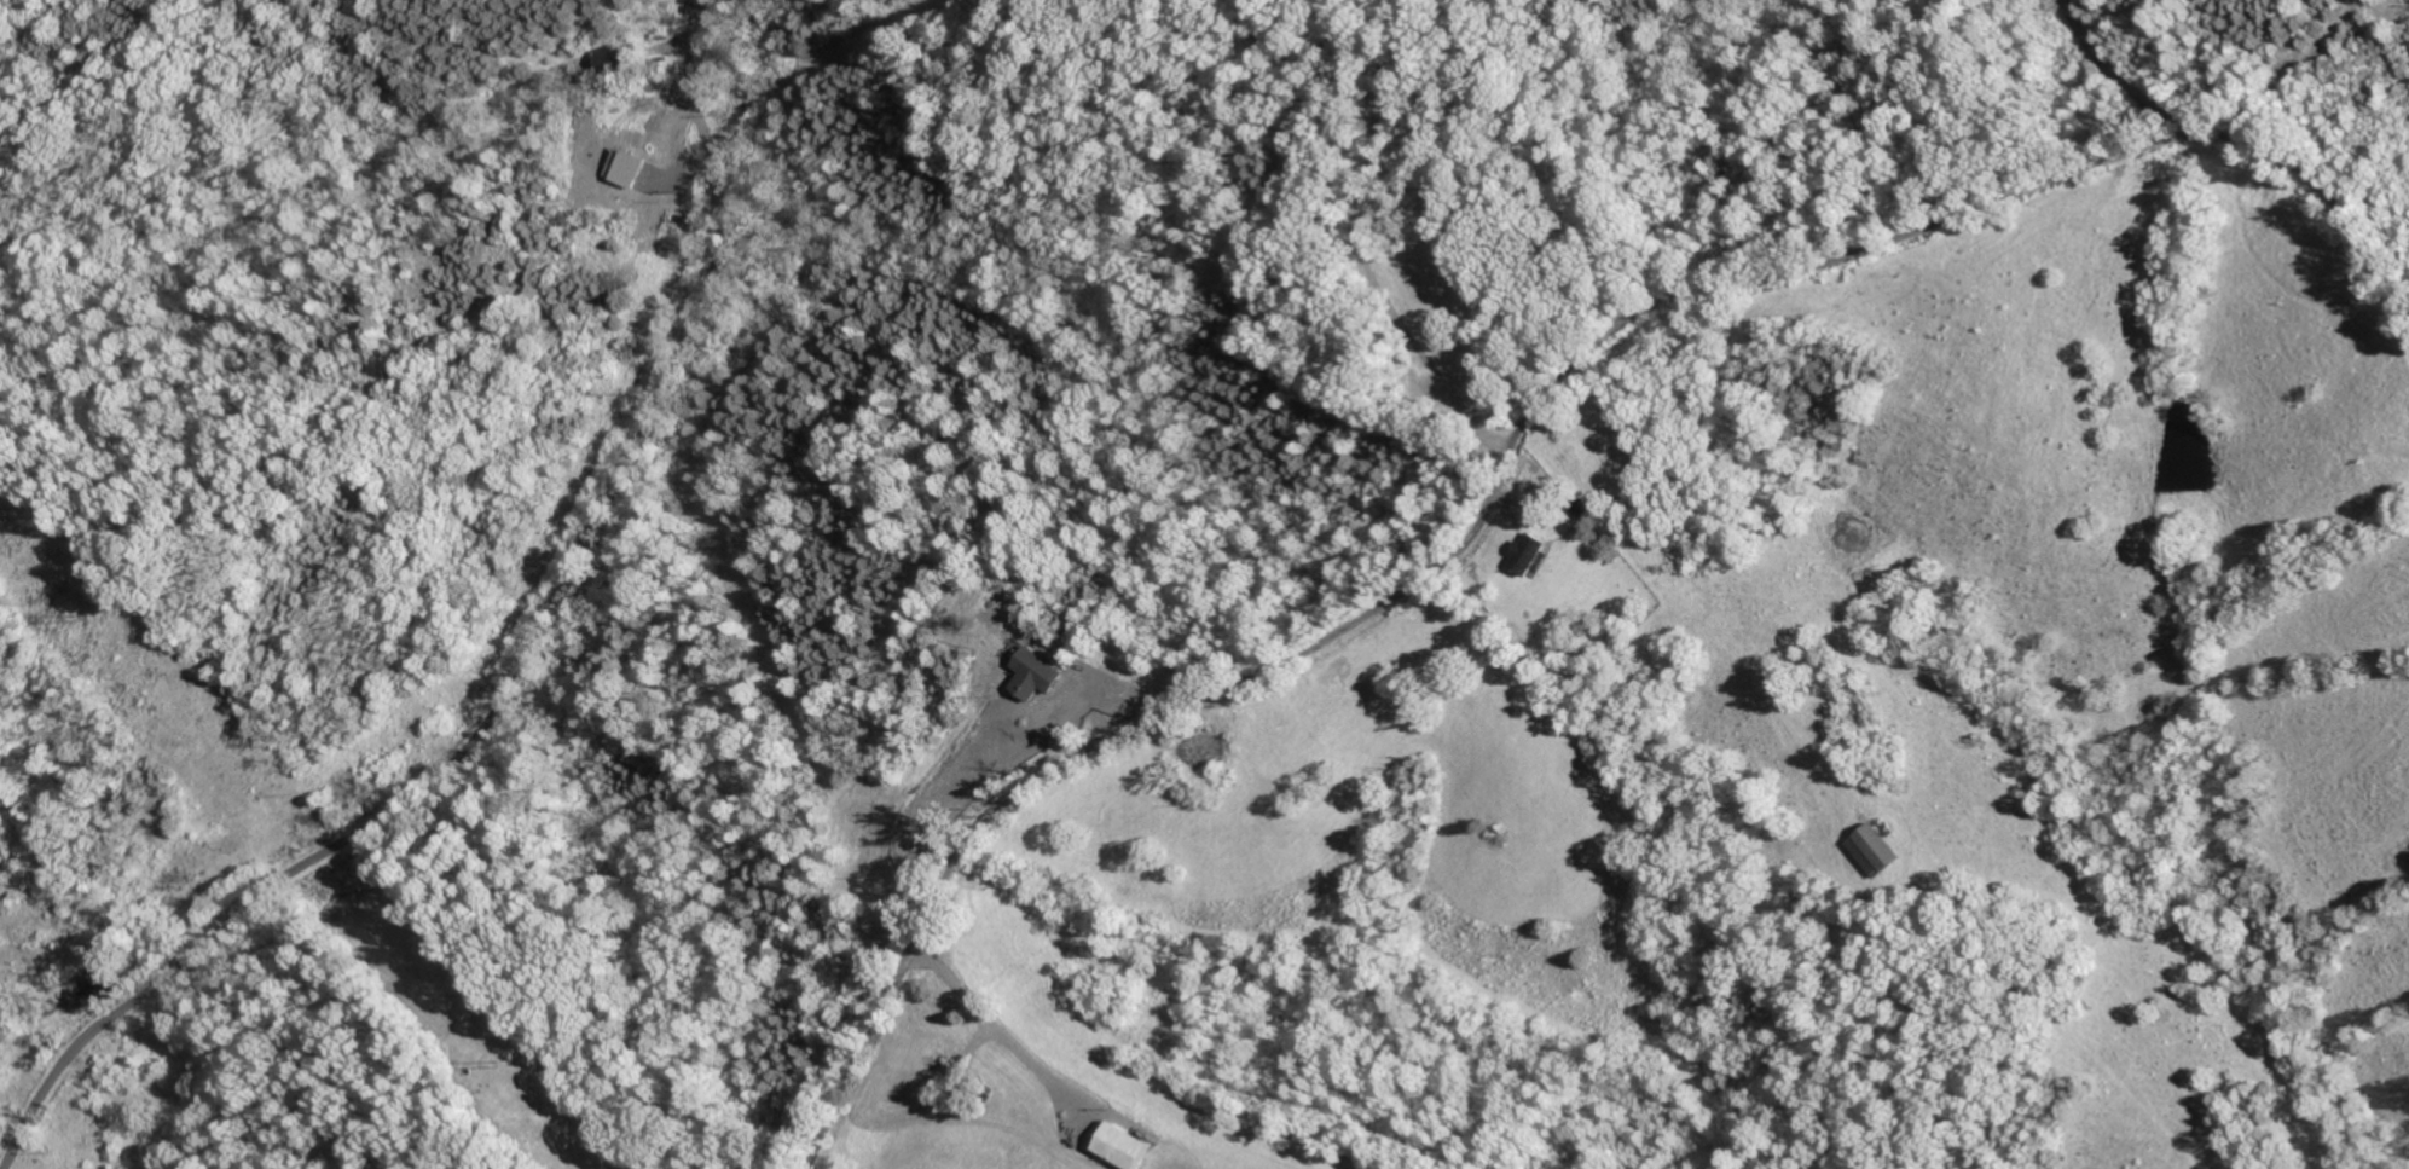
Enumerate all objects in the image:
road: (1371, 69)
road: (1406, 71)
road: (2119, 80)
road: (1397, 308)
road: (1511, 446)
building: (1581, 510)
building: (1529, 557)
road: (519, 675)
building: (1033, 675)
building: (1881, 851)
road: (986, 1019)
building: (1119, 1146)

